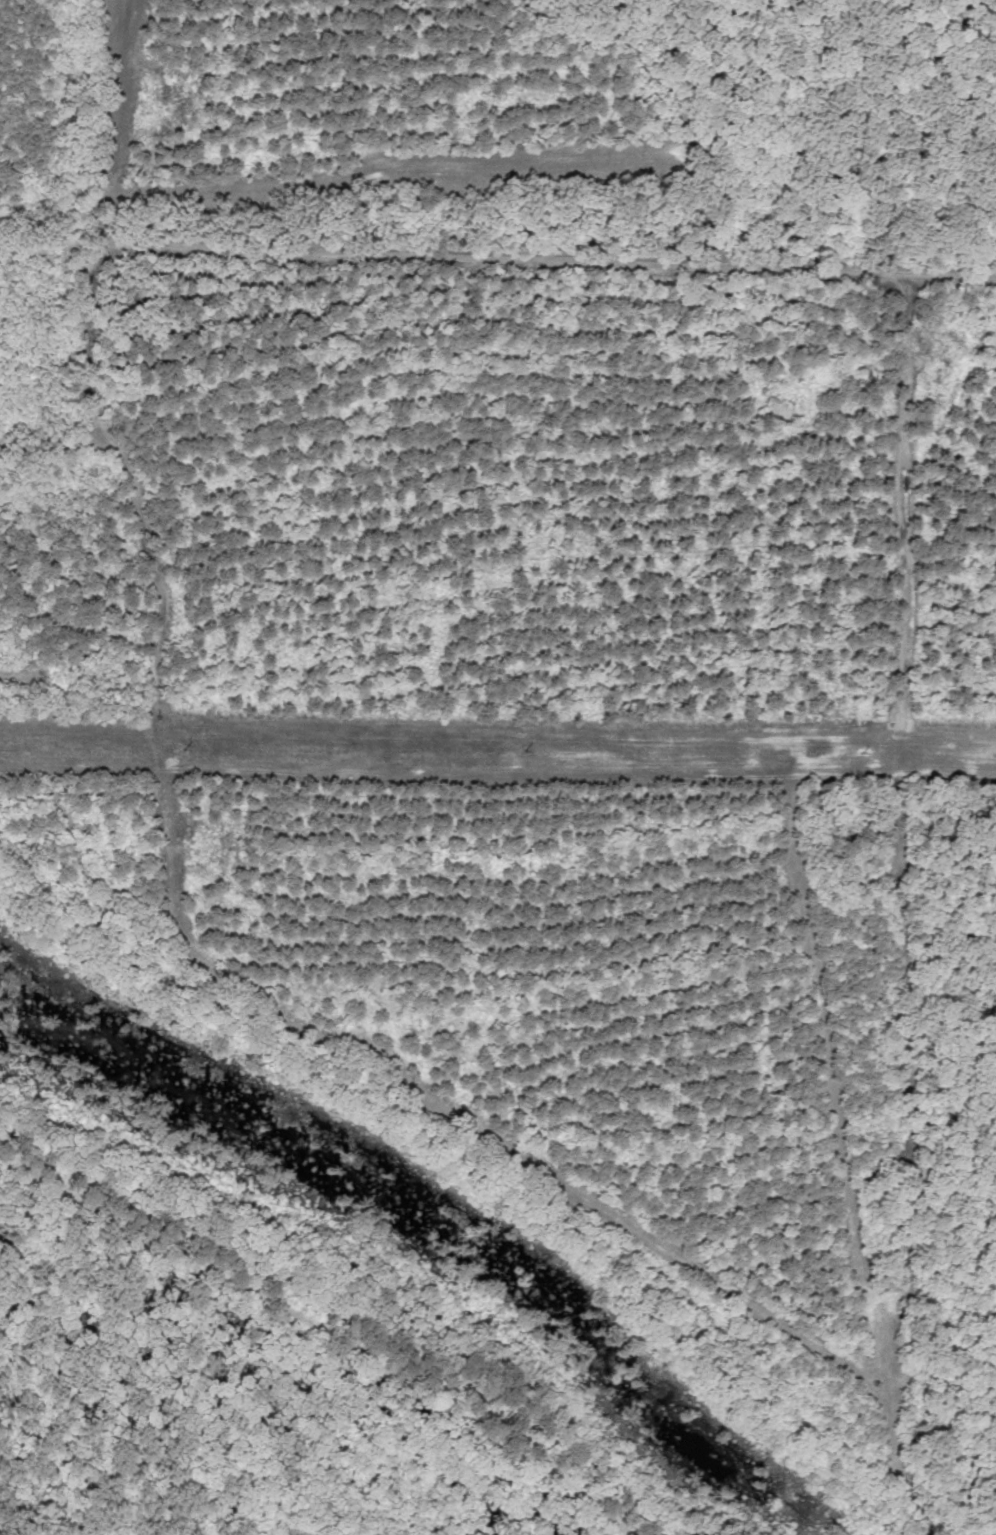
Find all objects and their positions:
road: (431, 256)

